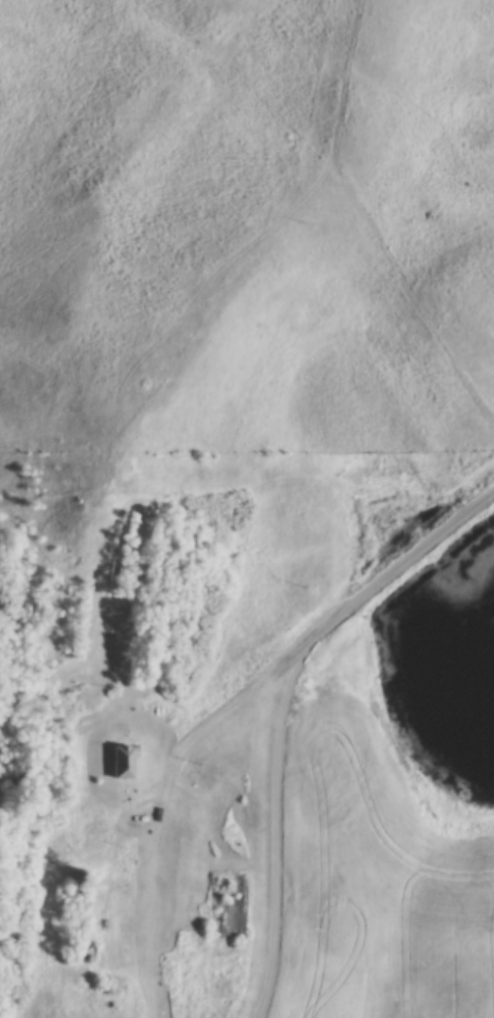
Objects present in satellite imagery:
road: (282, 709)
building: (120, 765)
road: (166, 794)

